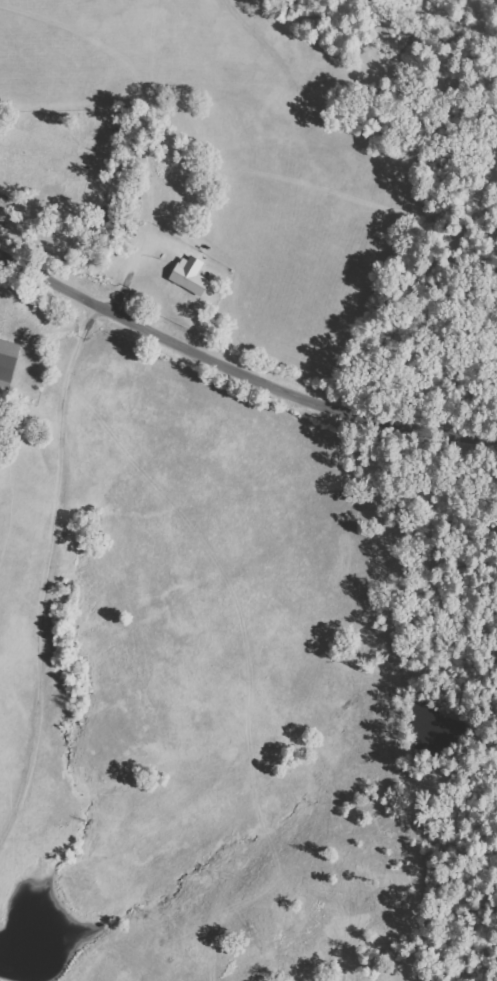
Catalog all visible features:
building: (194, 279)
building: (10, 364)
road: (240, 373)

